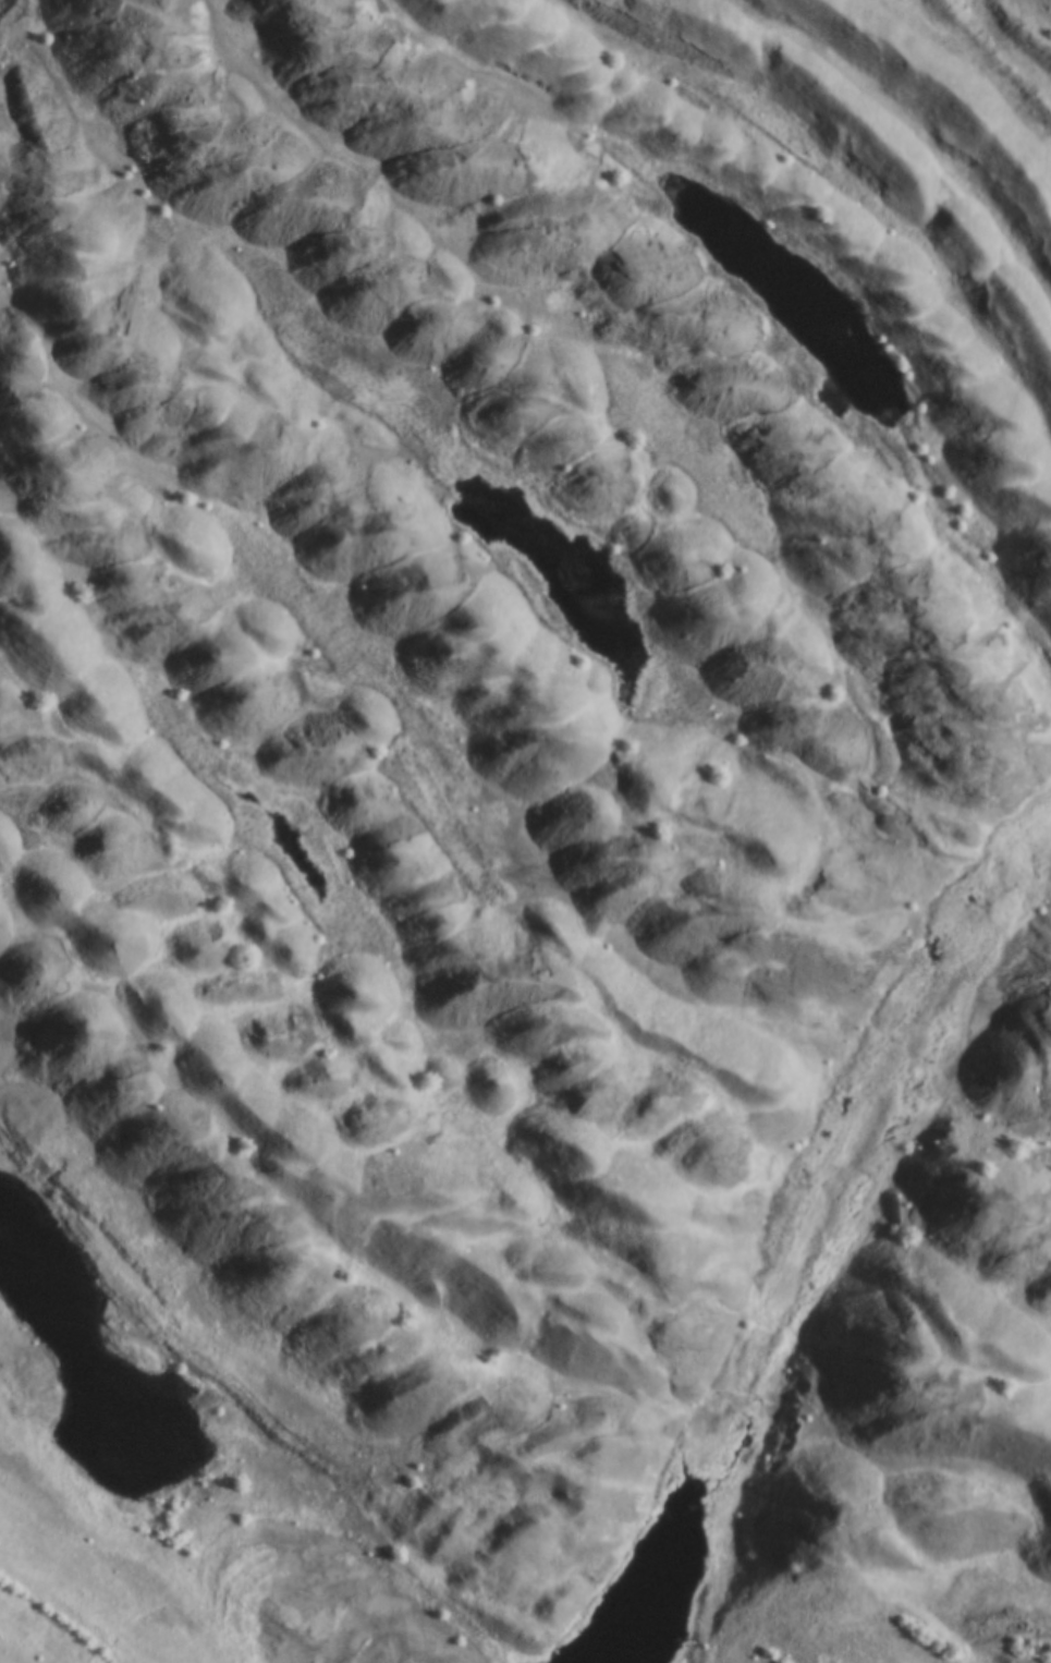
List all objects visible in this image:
quarry: (526, 828)
road: (876, 1094)

